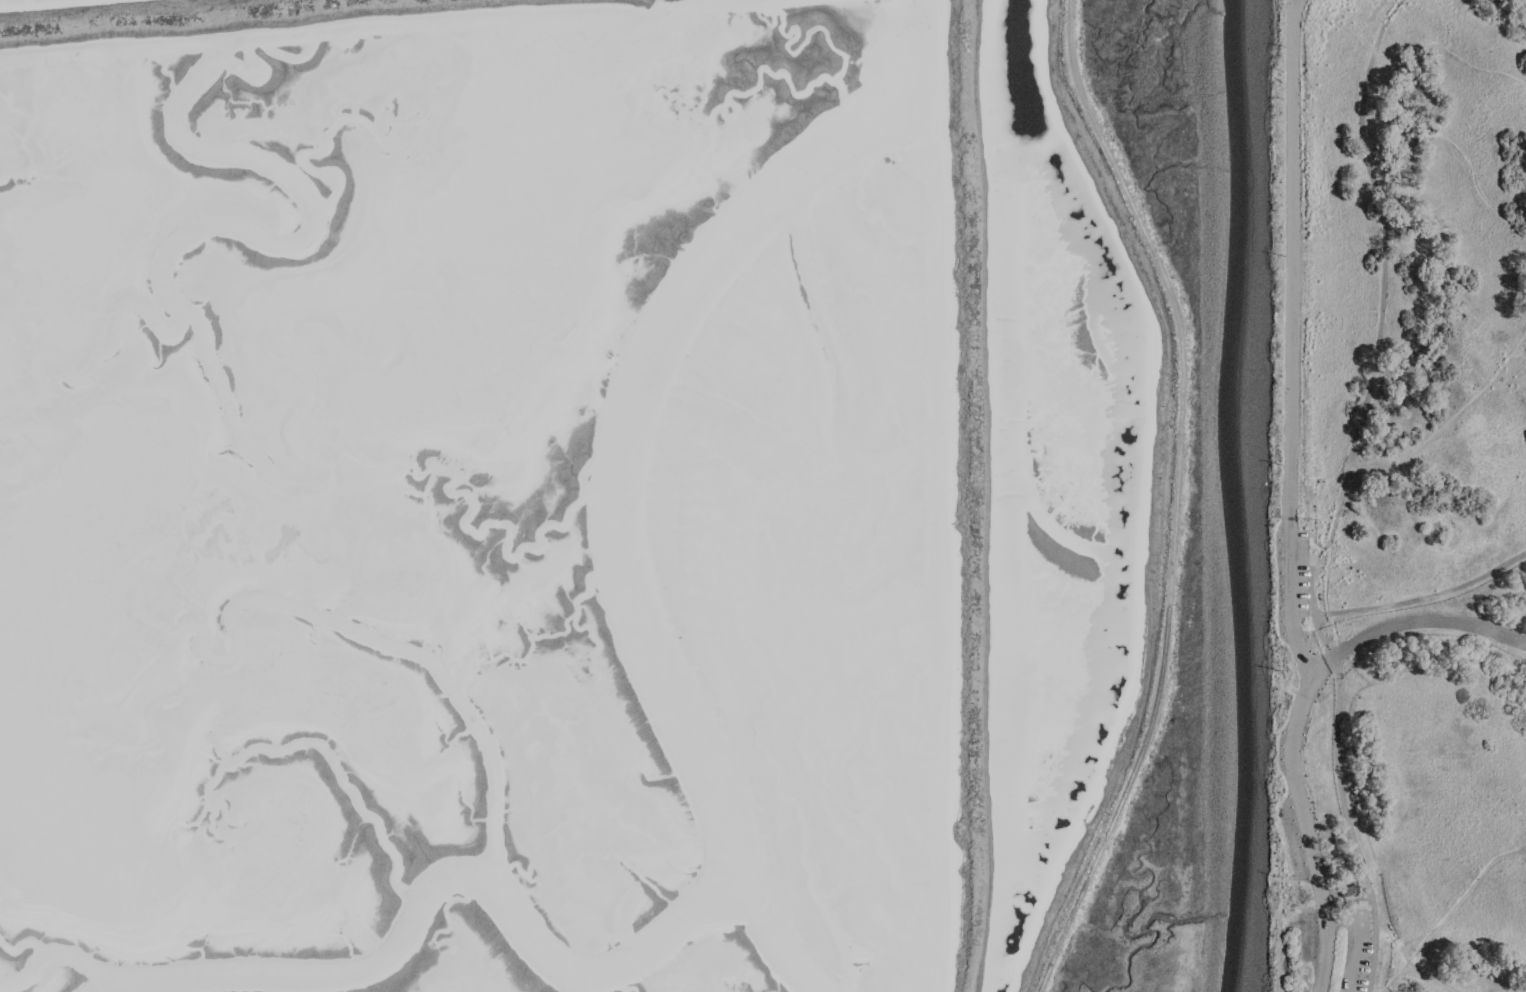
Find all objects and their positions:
road: (1294, 2)
road: (1431, 89)
road: (1291, 260)
road: (1380, 308)
road: (1521, 355)
road: (1357, 466)
road: (1398, 469)
park: (1400, 497)
parking lot: (1293, 575)
road: (1425, 599)
road: (1289, 601)
road: (1325, 603)
road: (1427, 622)
road: (1344, 805)
road: (1301, 820)
road: (1279, 887)
building: (1351, 893)
road: (1455, 904)
parking lot: (1303, 935)
road: (1414, 937)
road: (1352, 939)
parking lot: (1365, 953)
road: (1409, 964)
road: (1395, 975)

